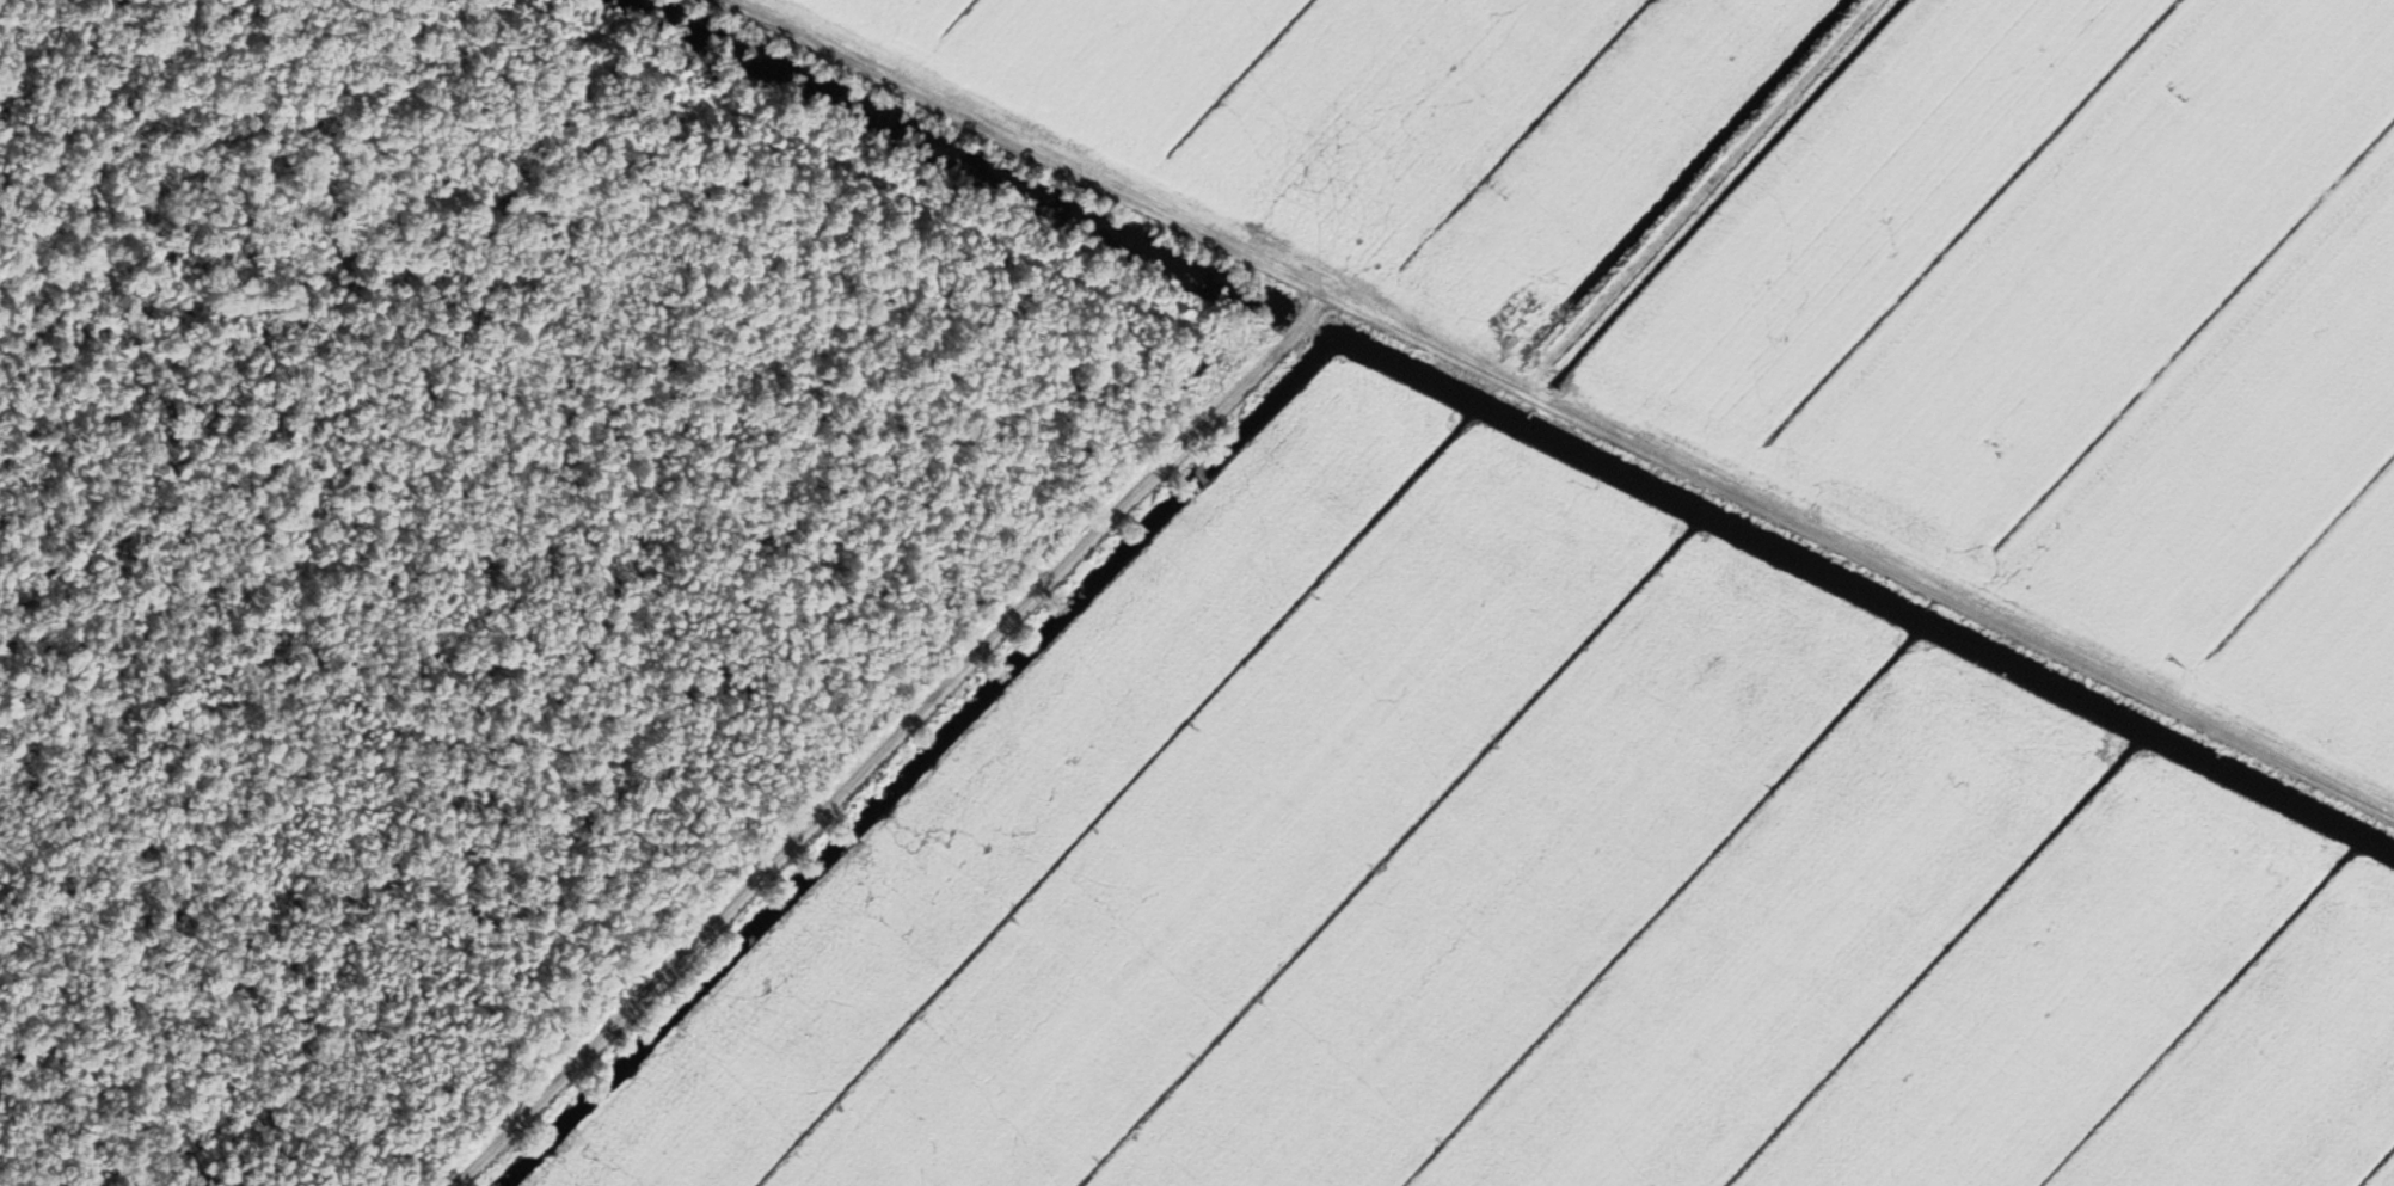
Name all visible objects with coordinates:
crop: (1382, 113)
road: (1702, 195)
crop: (2080, 330)
road: (1558, 406)
road: (885, 739)
crop: (1524, 890)

